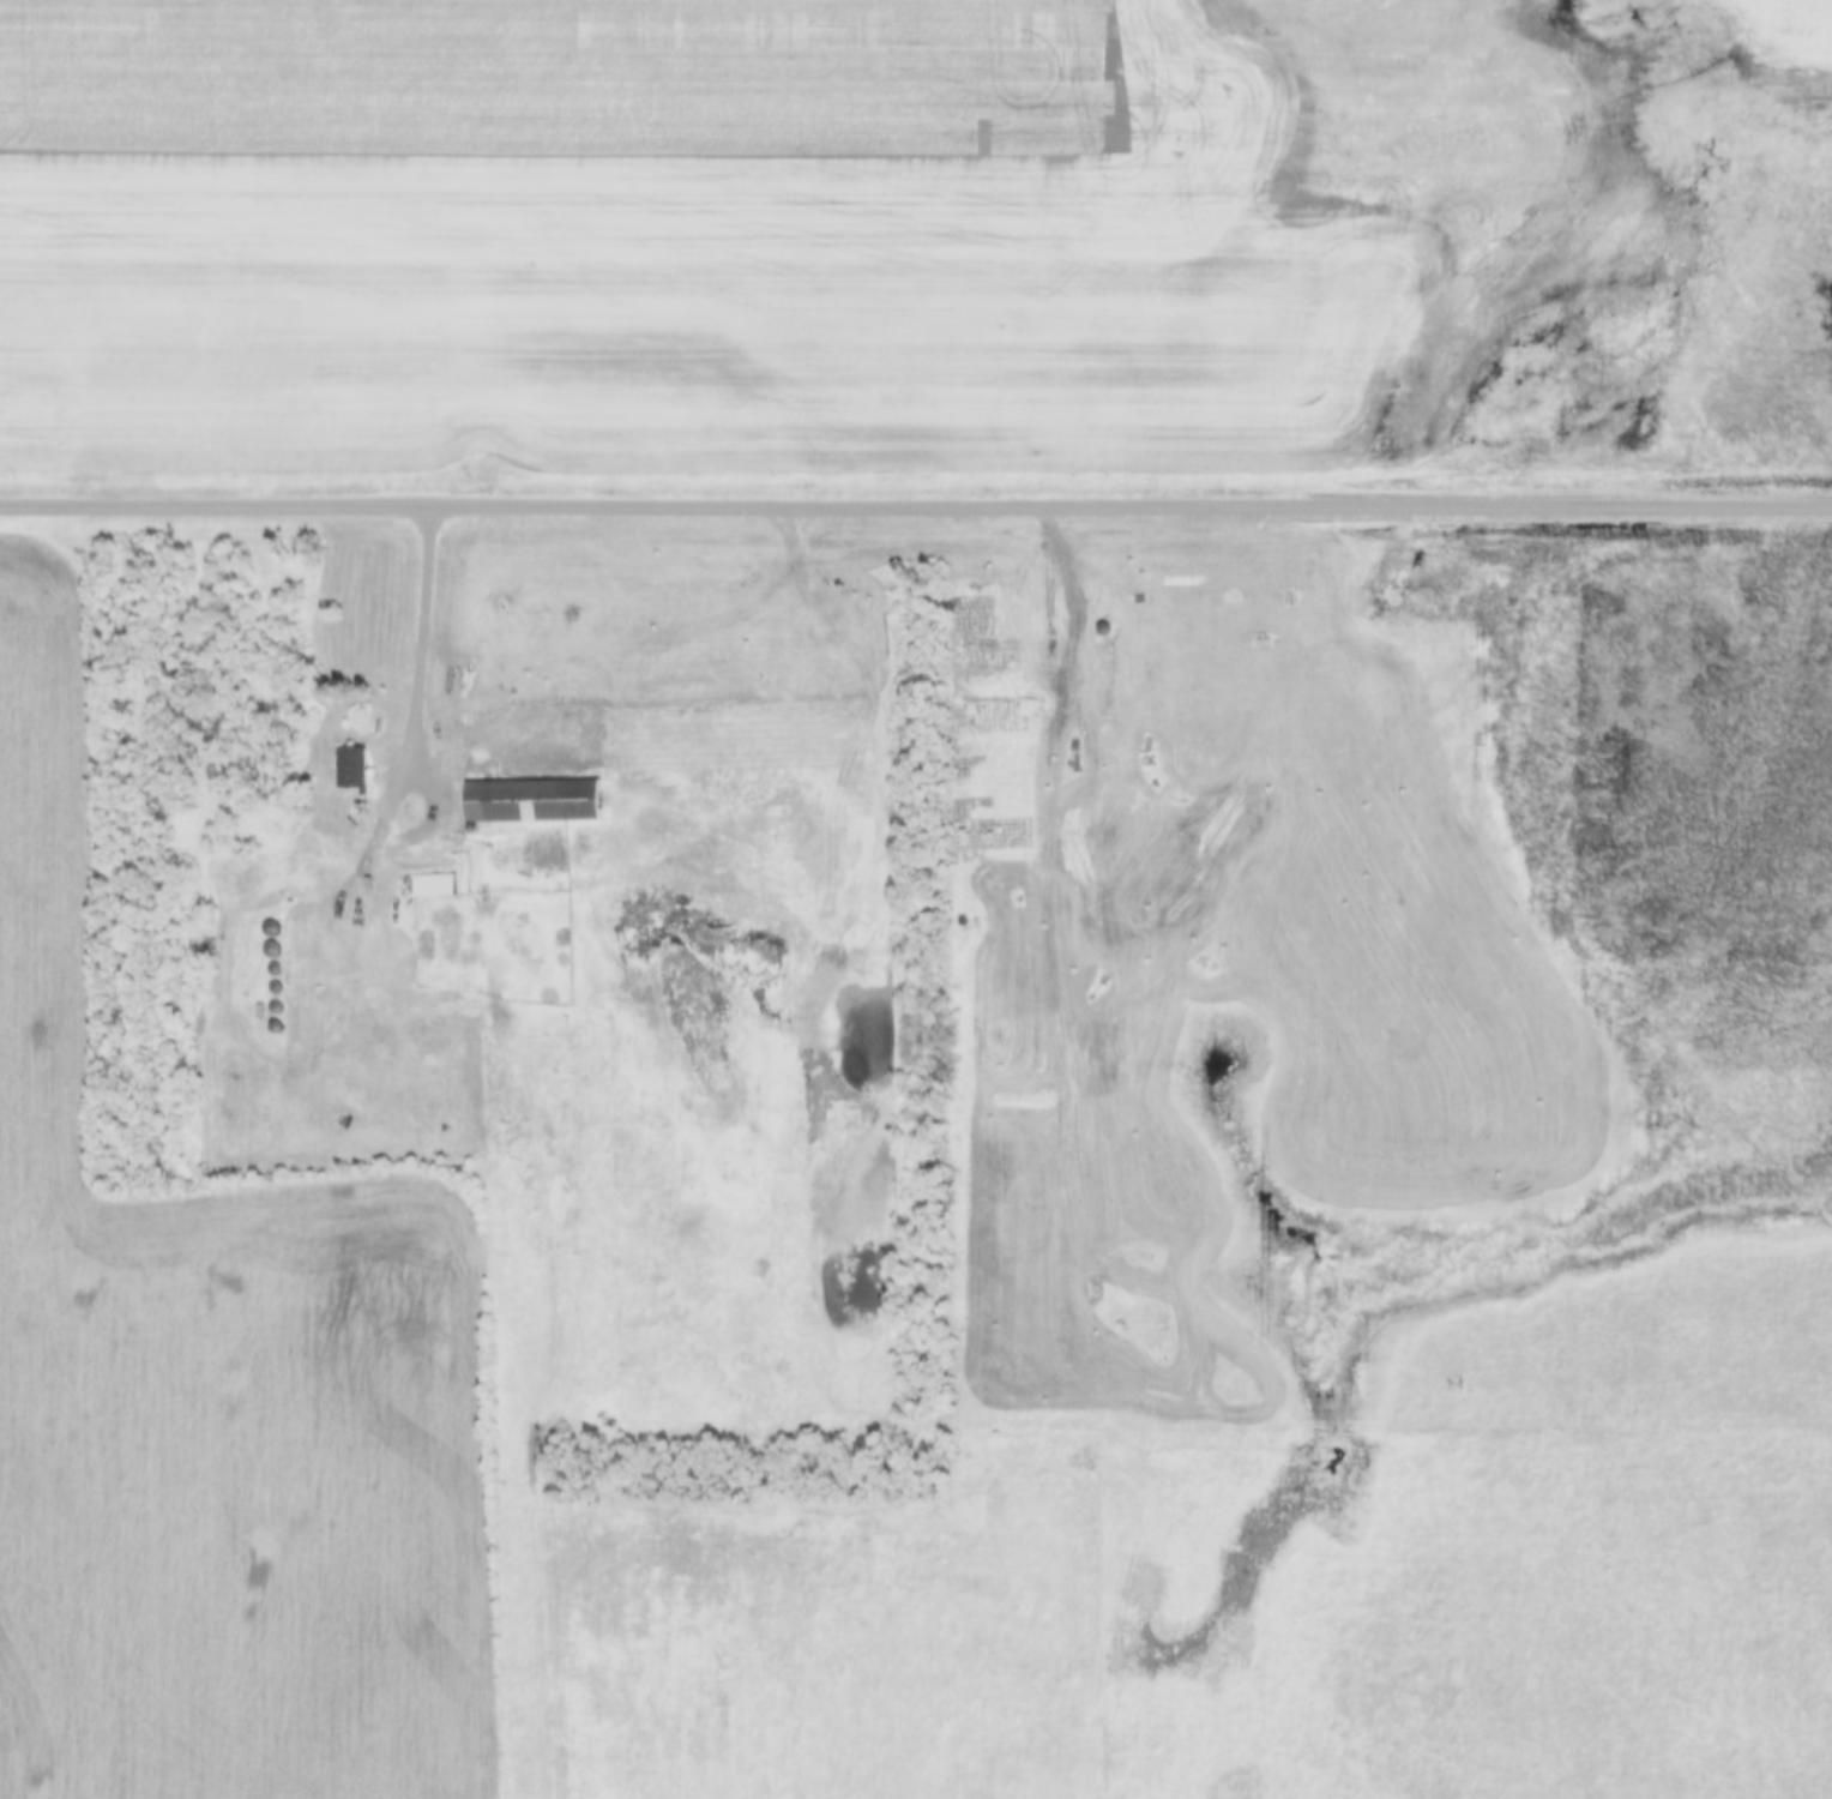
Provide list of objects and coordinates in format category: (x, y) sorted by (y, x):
road: (916, 504)
road: (1037, 668)
road: (531, 670)
building: (355, 770)
building: (540, 804)
building: (436, 889)

